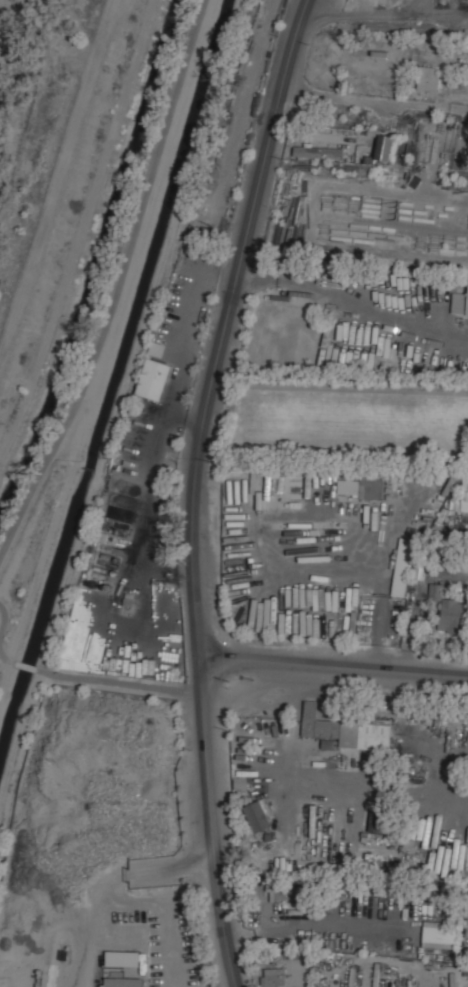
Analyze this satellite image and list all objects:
building: (457, 25)
building: (429, 77)
building: (456, 134)
building: (386, 145)
building: (319, 151)
road: (57, 182)
road: (118, 283)
building: (459, 304)
building: (154, 378)
road: (339, 386)
building: (372, 485)
road: (192, 487)
building: (465, 493)
building: (329, 592)
building: (453, 616)
road: (1, 636)
road: (332, 663)
road: (26, 665)
road: (118, 681)
building: (346, 729)
building: (258, 815)
road: (134, 871)
building: (277, 892)
building: (439, 935)
building: (274, 977)

